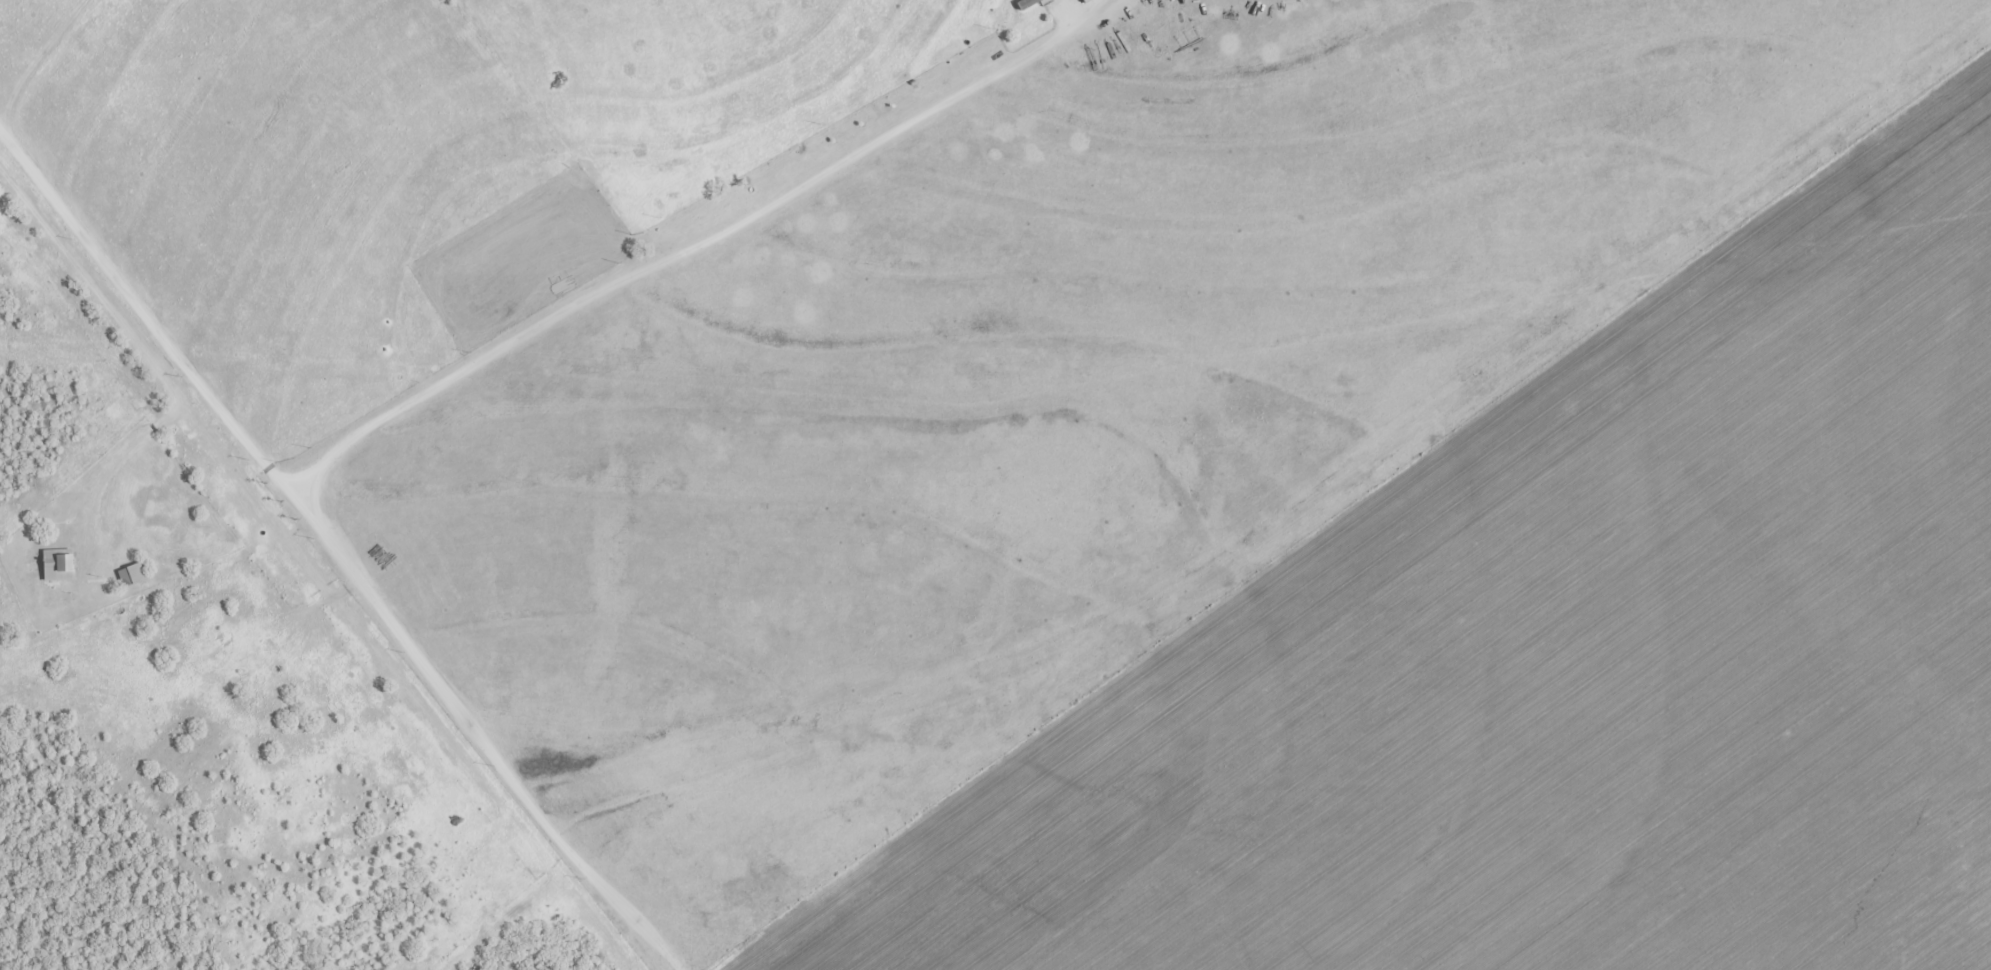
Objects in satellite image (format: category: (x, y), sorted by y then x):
road: (689, 250)
road: (149, 366)
road: (335, 551)
building: (58, 568)

